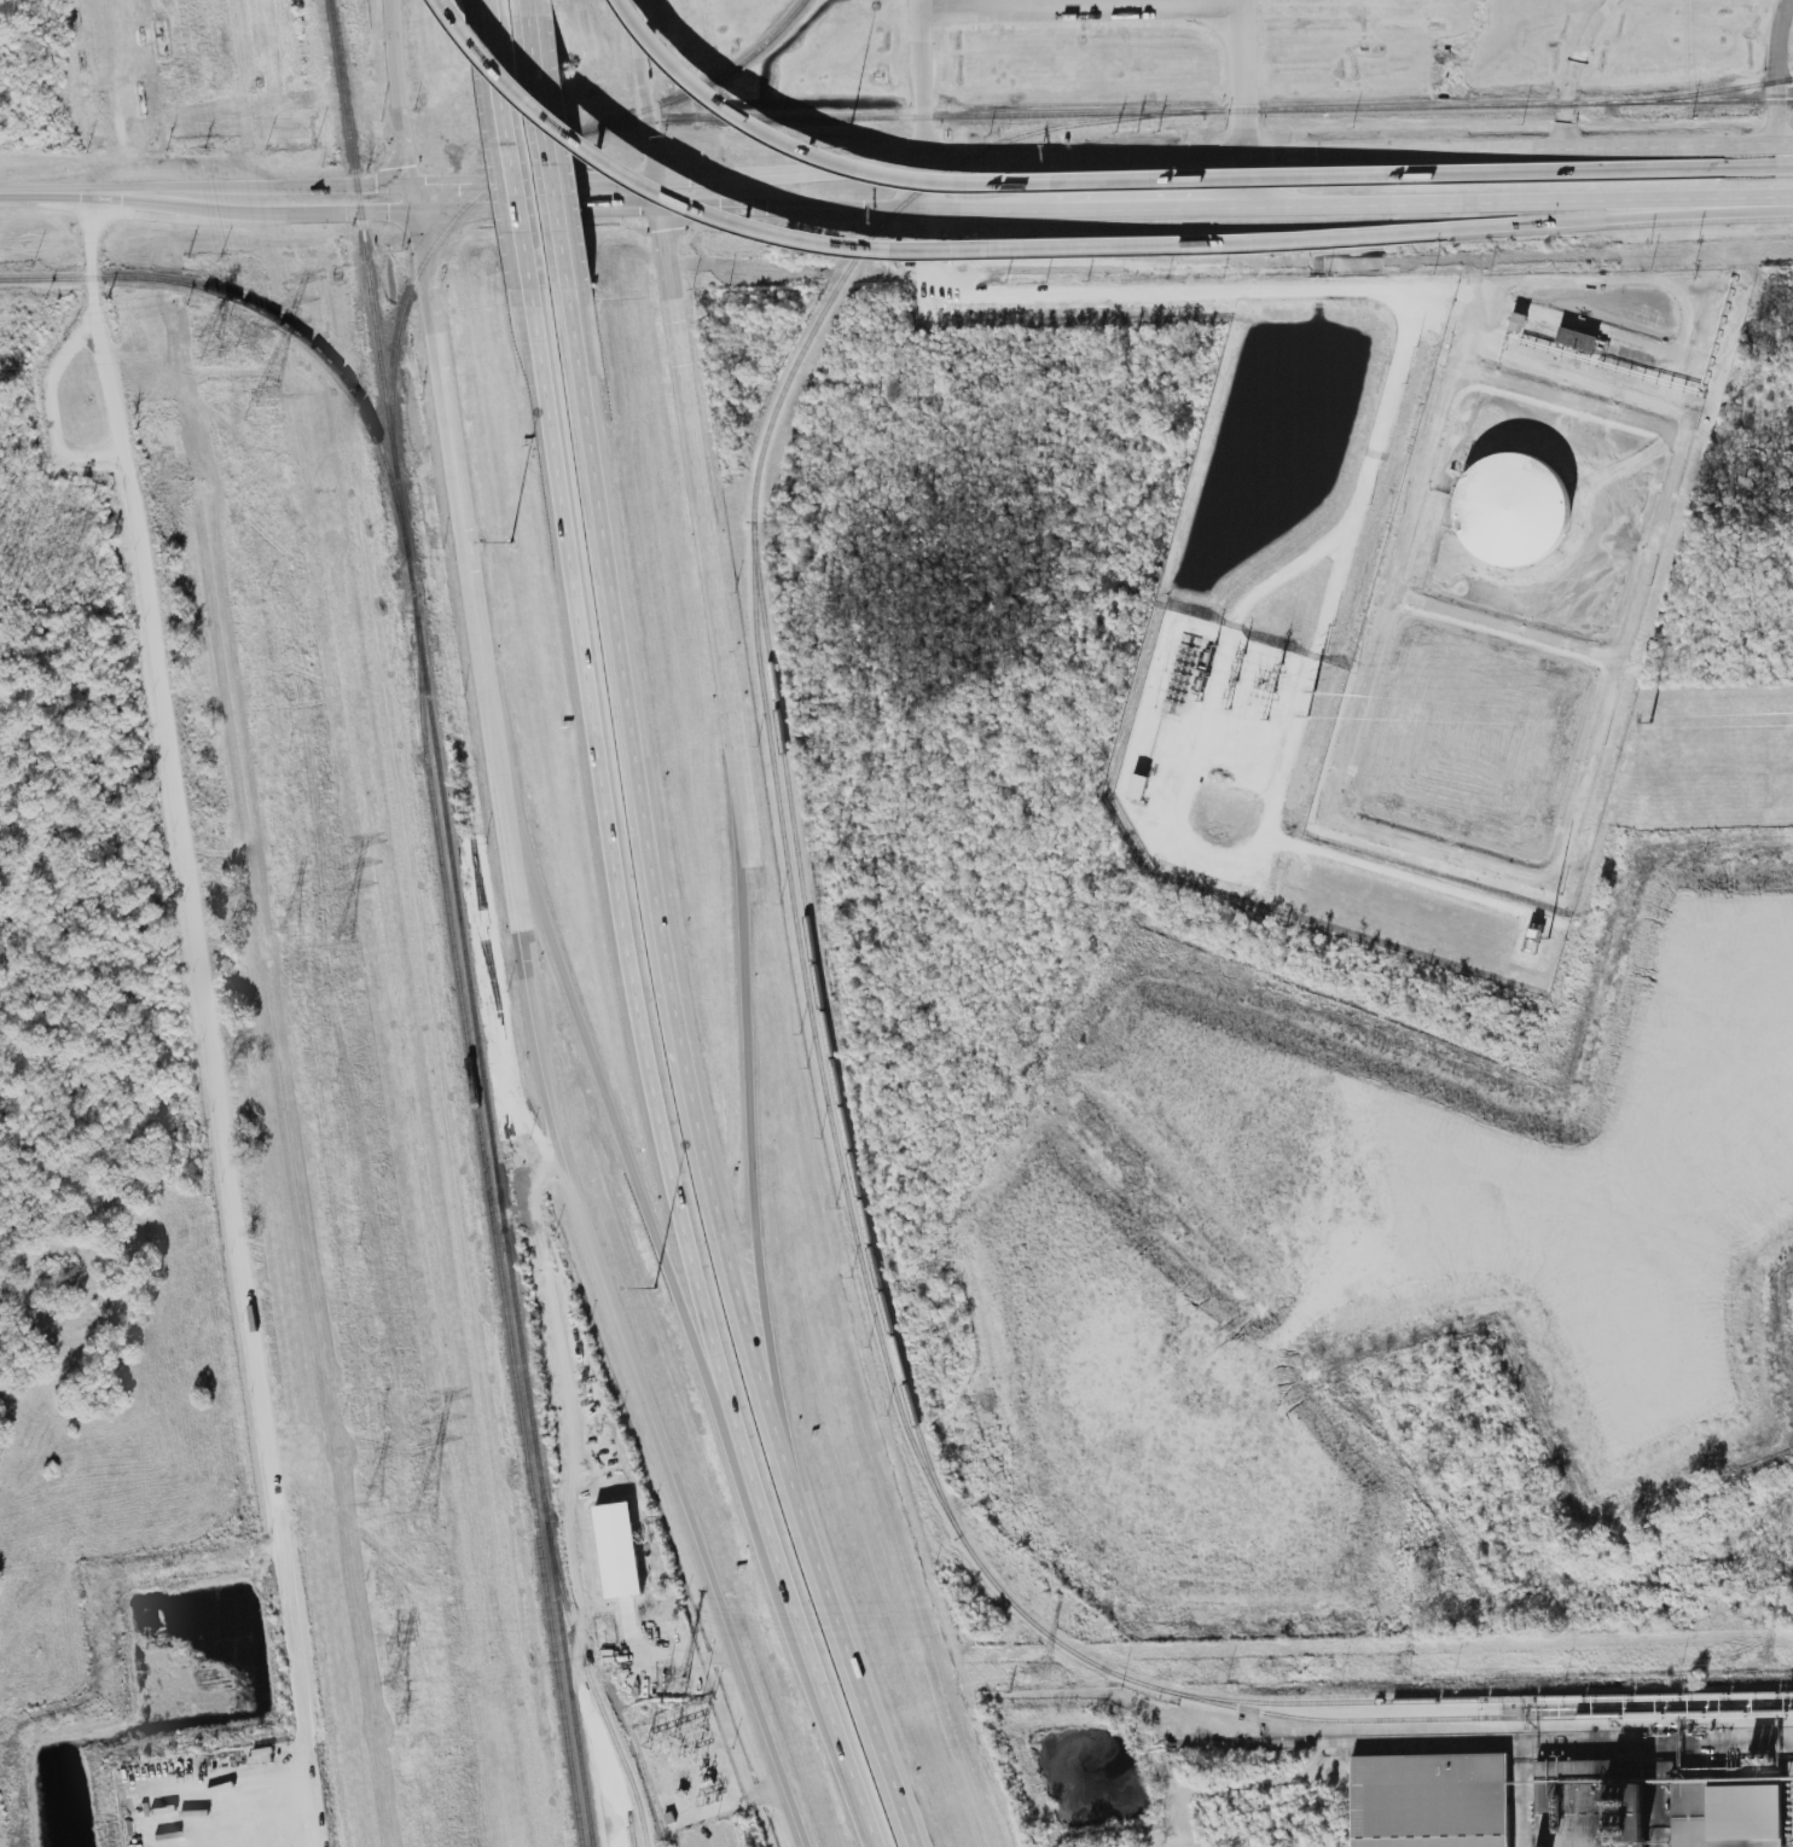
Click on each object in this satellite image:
road: (1083, 4)
road: (393, 24)
road: (1574, 69)
road: (1777, 70)
road: (1244, 76)
road: (924, 81)
railway: (1702, 93)
road: (649, 104)
railway: (1188, 111)
road: (402, 116)
road: (550, 151)
road: (510, 152)
road: (895, 163)
railway: (509, 165)
road: (1710, 170)
road: (1247, 180)
road: (1092, 184)
road: (923, 185)
road: (413, 196)
road: (207, 208)
road: (1104, 208)
road: (1553, 217)
road: (419, 237)
road: (839, 243)
road: (674, 267)
railway: (274, 318)
building: (1519, 321)
road: (435, 337)
building: (1577, 338)
power tower: (207, 350)
power tower: (265, 399)
road: (47, 413)
building: (1513, 510)
storage tank: (1513, 510)
road: (466, 550)
road: (710, 556)
building: (1138, 786)
road: (662, 848)
road: (620, 871)
railway: (462, 923)
power tower: (290, 929)
power tower: (344, 948)
road: (207, 1015)
railway: (825, 1035)
road: (596, 1065)
road: (750, 1088)
railway: (836, 1144)
railway: (495, 1232)
road: (604, 1278)
road: (558, 1315)
power tower: (381, 1504)
power tower: (424, 1515)
building: (619, 1550)
road: (851, 1619)
road: (812, 1638)
power tower: (393, 1649)
power tower: (1766, 1654)
road: (666, 1656)
power tower: (1406, 1661)
power tower: (1045, 1669)
power tower: (685, 1678)
power tower: (401, 1685)
railway: (593, 1685)
railway: (1475, 1718)
power tower: (404, 1719)
power substation: (689, 1770)
building: (1432, 1800)
building: (1598, 1804)
building: (1730, 1810)
railway: (632, 1829)

